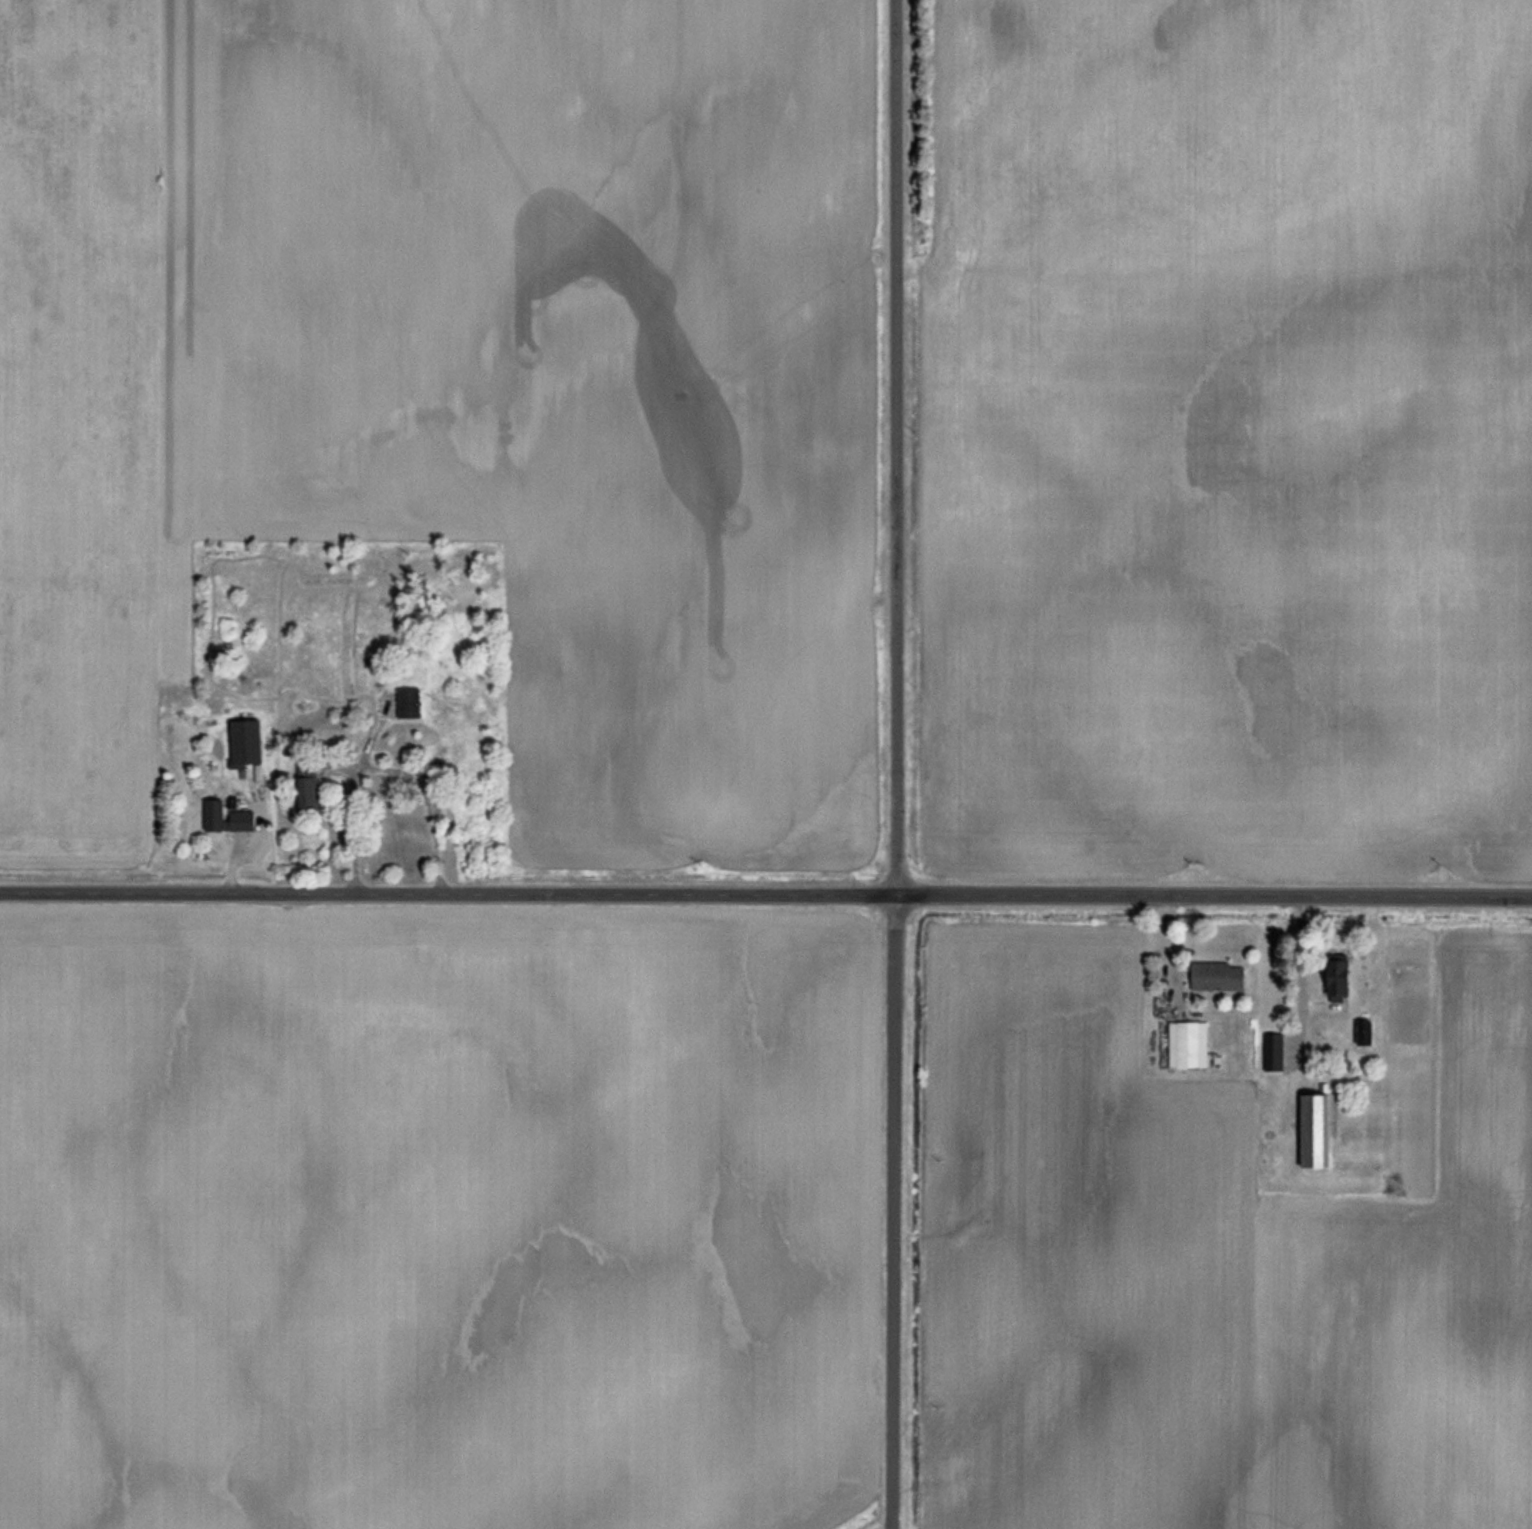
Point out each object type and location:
building: (412, 704)
road: (897, 764)
road: (380, 767)
building: (314, 795)
building: (217, 816)
building: (246, 821)
road: (766, 897)
building: (1222, 976)
building: (1346, 977)
building: (1365, 1032)
building: (1192, 1045)
building: (1321, 1129)
road: (885, 1526)

